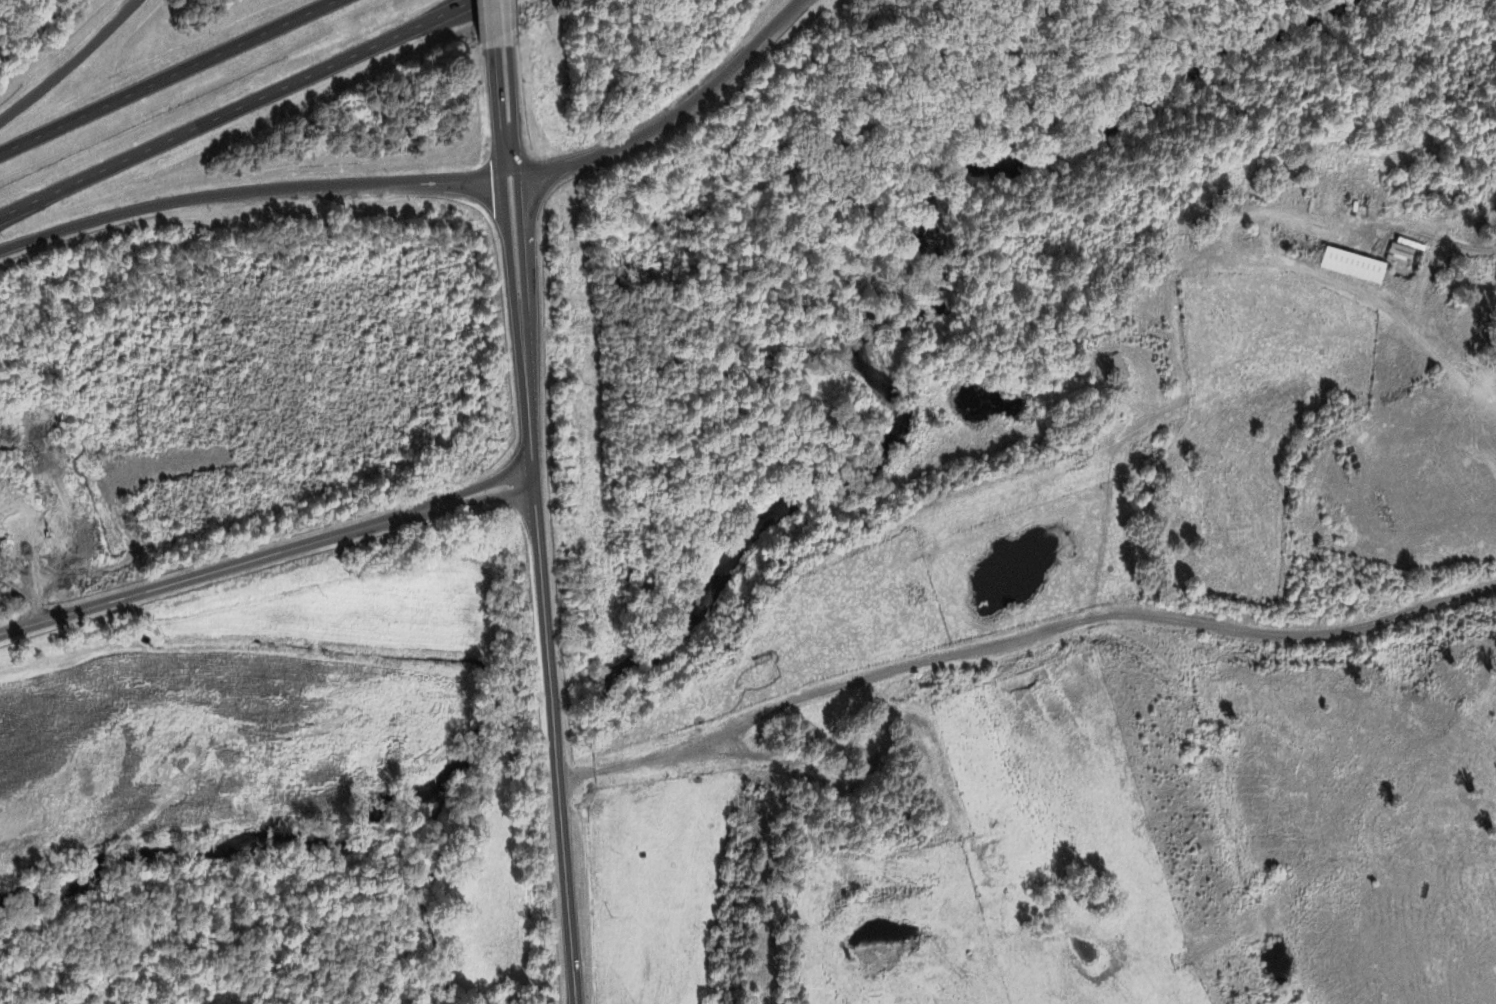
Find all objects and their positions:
road: (497, 26)
road: (71, 64)
road: (173, 80)
road: (242, 112)
road: (671, 116)
road: (251, 191)
building: (1351, 267)
building: (1115, 369)
road: (540, 528)
road: (268, 550)
road: (1020, 636)

